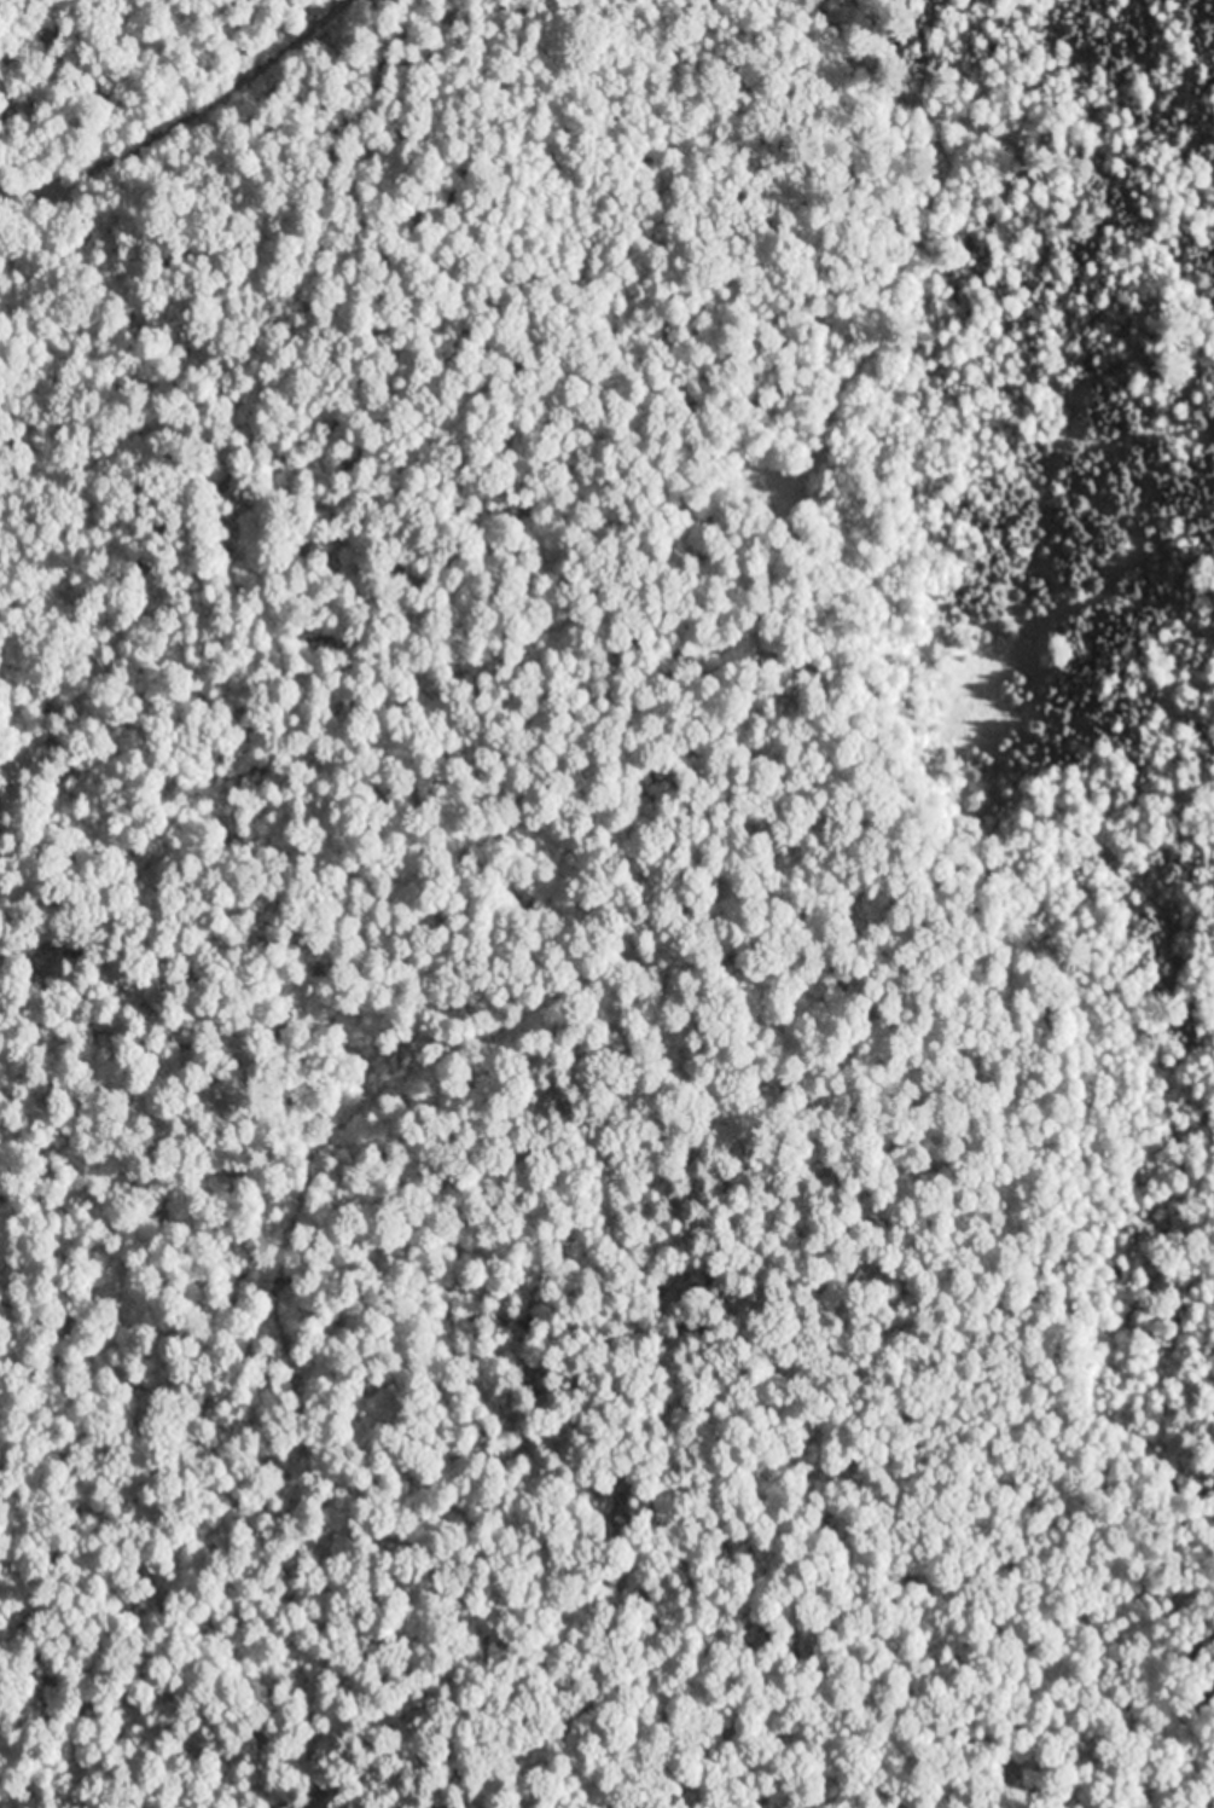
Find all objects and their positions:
road: (186, 117)

